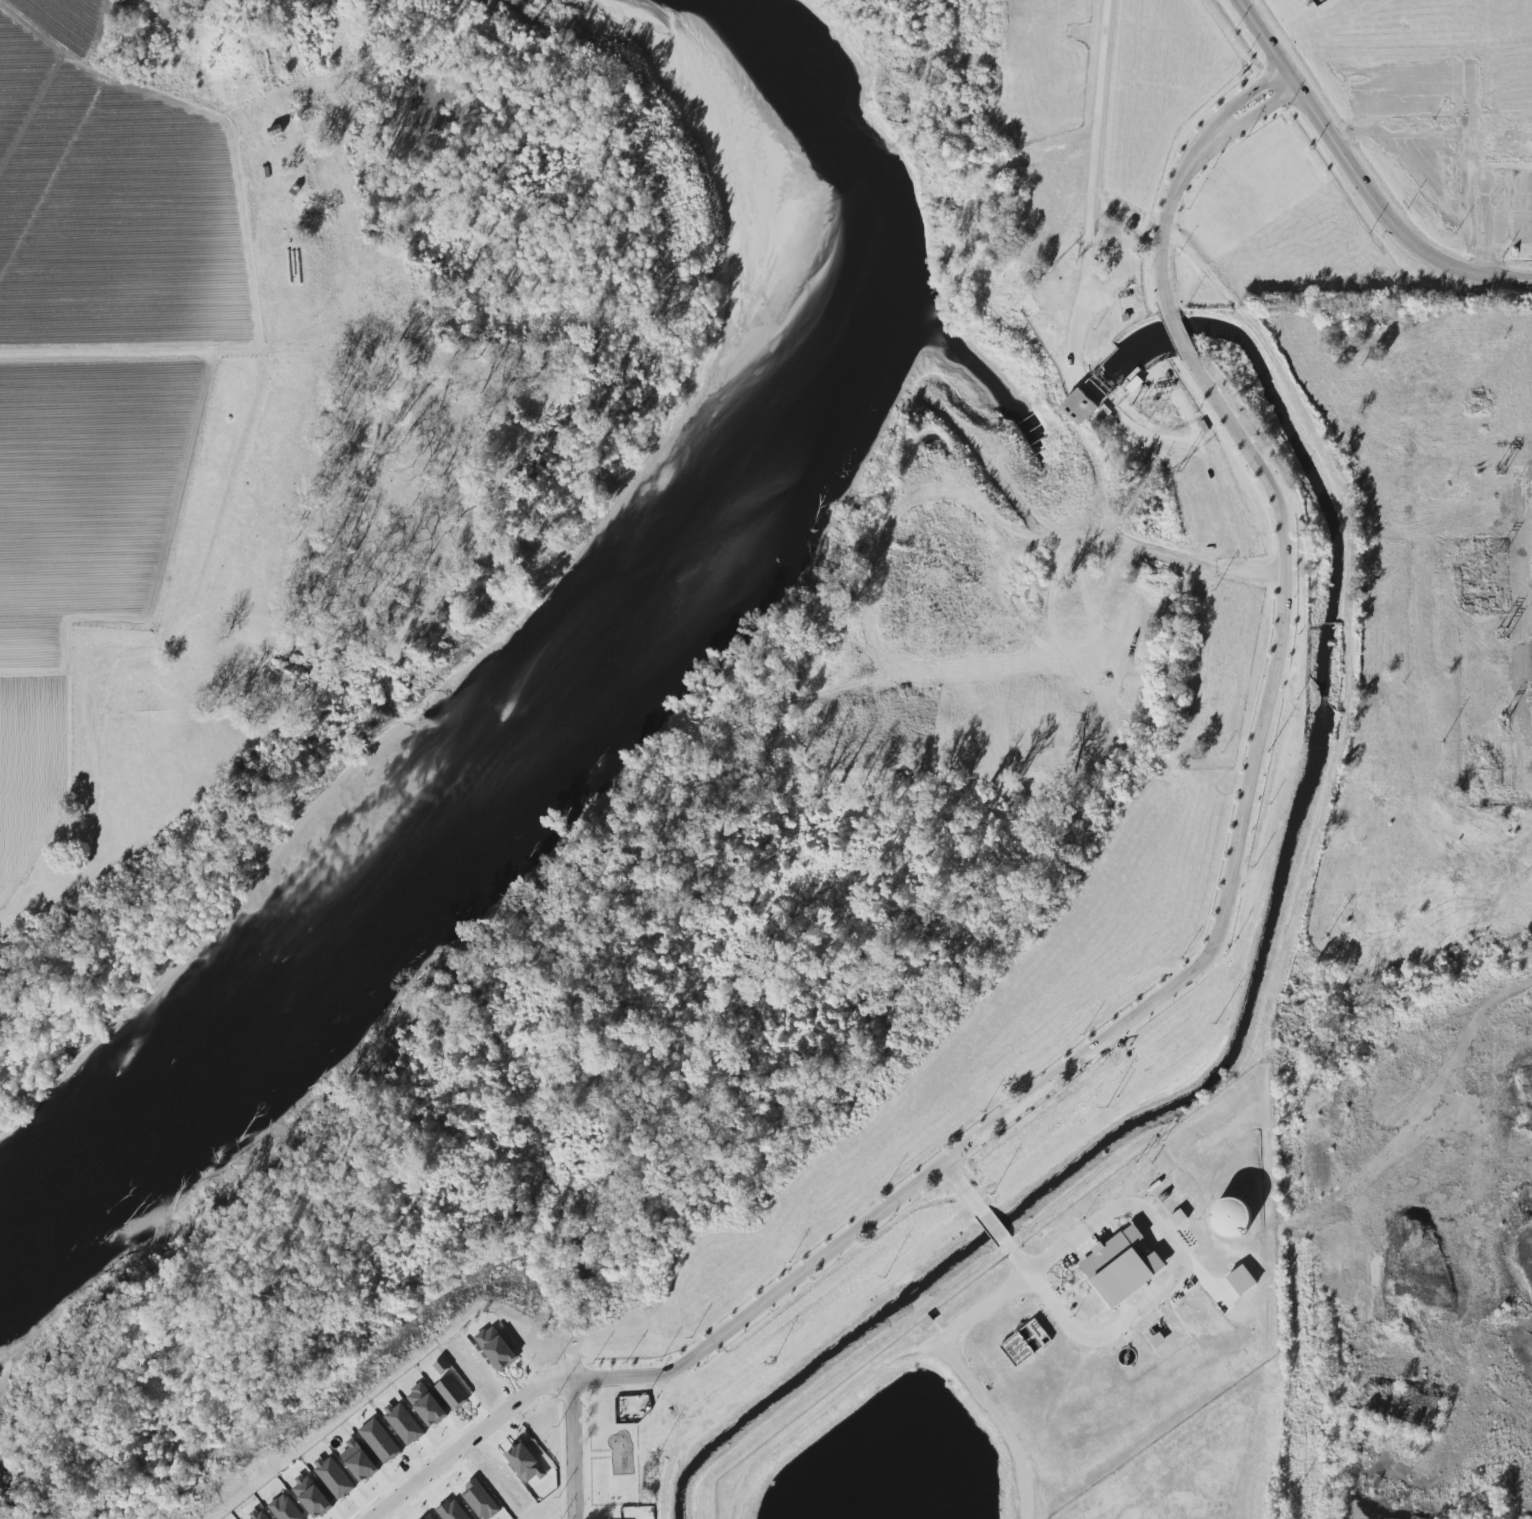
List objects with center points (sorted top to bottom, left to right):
road: (1250, 93)
flagpole: (1244, 109)
road: (1262, 111)
flagpole: (1240, 113)
road: (215, 120)
building: (278, 134)
road: (1097, 171)
road: (1356, 179)
road: (133, 356)
building: (1136, 385)
building: (1083, 408)
river: (597, 683)
road: (64, 866)
road: (1193, 961)
power tower: (1288, 1119)
road: (961, 1188)
building: (1237, 1218)
road: (989, 1229)
building: (1121, 1262)
building: (1244, 1280)
road: (1163, 1286)
building: (497, 1348)
building: (1022, 1348)
building: (443, 1366)
road: (969, 1386)
building: (452, 1393)
building: (405, 1423)
road: (467, 1439)
building: (360, 1461)
building: (335, 1478)
building: (313, 1497)
building: (481, 1501)
building: (286, 1508)
building: (453, 1511)
building: (259, 1516)
building: (430, 1517)

